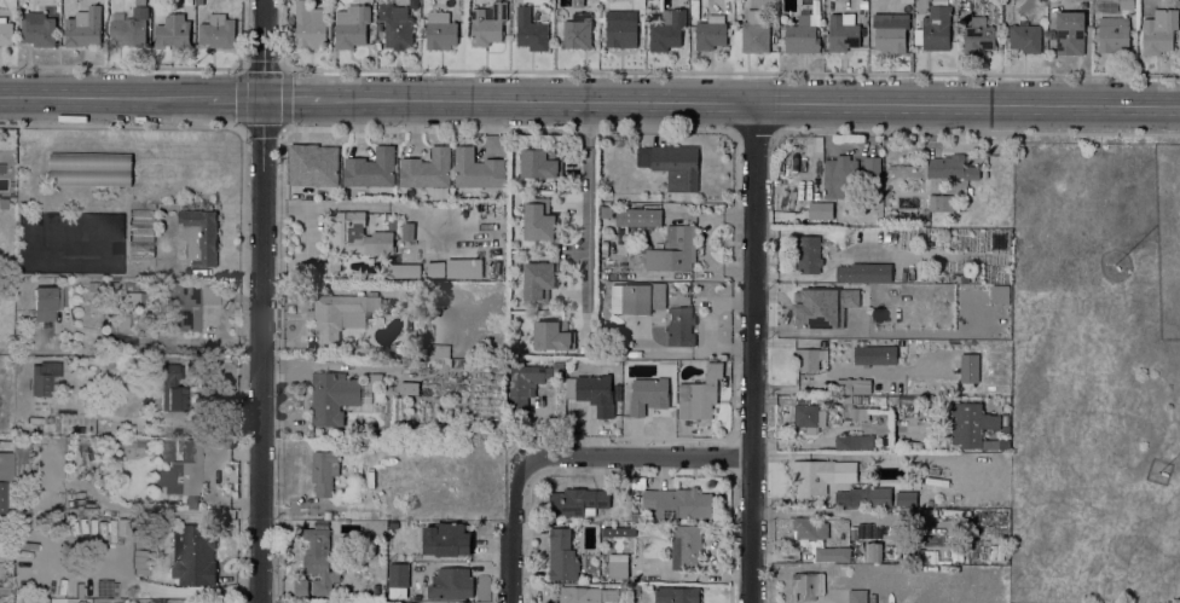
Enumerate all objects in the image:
building: (681, 0)
building: (951, 0)
building: (863, 2)
building: (1126, 4)
building: (922, 6)
building: (1007, 11)
building: (962, 15)
building: (978, 21)
building: (487, 23)
building: (310, 24)
building: (352, 25)
building: (397, 25)
building: (83, 27)
building: (936, 27)
building: (37, 28)
building: (131, 28)
building: (530, 29)
building: (667, 29)
building: (6, 30)
building: (173, 30)
building: (218, 30)
building: (440, 30)
building: (578, 30)
building: (890, 30)
building: (1158, 30)
building: (621, 31)
building: (711, 31)
building: (754, 31)
building: (844, 31)
building: (1070, 31)
building: (1114, 34)
building: (802, 35)
building: (1024, 36)
building: (978, 39)
road: (152, 66)
road: (242, 66)
road: (103, 97)
road: (233, 97)
traffic signals: (262, 97)
road: (293, 98)
road: (751, 100)
road: (112, 126)
road: (280, 127)
road: (283, 128)
road: (237, 129)
road: (241, 129)
road: (650, 129)
road: (753, 132)
road: (972, 132)
building: (539, 163)
building: (672, 163)
building: (312, 164)
building: (872, 166)
building: (950, 167)
building: (91, 168)
building: (371, 168)
building: (427, 168)
building: (476, 169)
building: (840, 176)
building: (10, 191)
building: (941, 202)
building: (2, 203)
building: (606, 210)
building: (829, 211)
building: (140, 216)
building: (637, 216)
building: (539, 219)
road: (585, 222)
building: (407, 230)
building: (140, 233)
building: (355, 234)
building: (199, 236)
building: (83, 242)
building: (671, 249)
building: (140, 250)
building: (808, 254)
building: (334, 263)
building: (313, 267)
building: (462, 267)
building: (435, 268)
building: (404, 269)
building: (863, 272)
building: (956, 277)
building: (538, 282)
building: (128, 285)
building: (93, 286)
building: (110, 286)
building: (208, 295)
building: (846, 296)
building: (637, 297)
building: (137, 298)
building: (46, 301)
road: (260, 301)
building: (179, 303)
building: (417, 306)
building: (808, 306)
building: (339, 315)
road: (711, 324)
building: (681, 326)
building: (844, 329)
building: (553, 335)
building: (361, 349)
building: (433, 350)
road: (753, 352)
building: (879, 354)
building: (806, 358)
building: (446, 361)
building: (18, 363)
road: (241, 371)
building: (44, 377)
building: (375, 377)
building: (530, 381)
building: (850, 385)
building: (409, 387)
building: (175, 389)
building: (594, 390)
building: (648, 394)
building: (699, 394)
building: (332, 395)
building: (145, 398)
building: (883, 401)
building: (855, 410)
building: (809, 416)
building: (35, 419)
building: (1005, 419)
building: (973, 425)
building: (177, 431)
building: (854, 441)
building: (127, 442)
road: (734, 456)
road: (676, 457)
building: (22, 458)
building: (181, 469)
building: (324, 471)
road: (631, 474)
building: (811, 476)
building: (345, 487)
road: (517, 493)
building: (1, 495)
building: (637, 495)
building: (863, 495)
building: (906, 498)
building: (577, 500)
building: (930, 500)
building: (678, 501)
building: (22, 505)
building: (81, 510)
building: (326, 514)
building: (322, 522)
building: (123, 527)
building: (809, 527)
building: (618, 530)
building: (446, 539)
building: (687, 546)
building: (873, 551)
building: (832, 553)
building: (192, 555)
road: (279, 555)
building: (562, 555)
building: (318, 558)
road: (492, 562)
building: (618, 566)
building: (398, 574)
building: (450, 582)
building: (809, 584)
building: (300, 587)
building: (4, 590)
building: (676, 593)
building: (586, 595)
building: (857, 596)
building: (406, 602)

